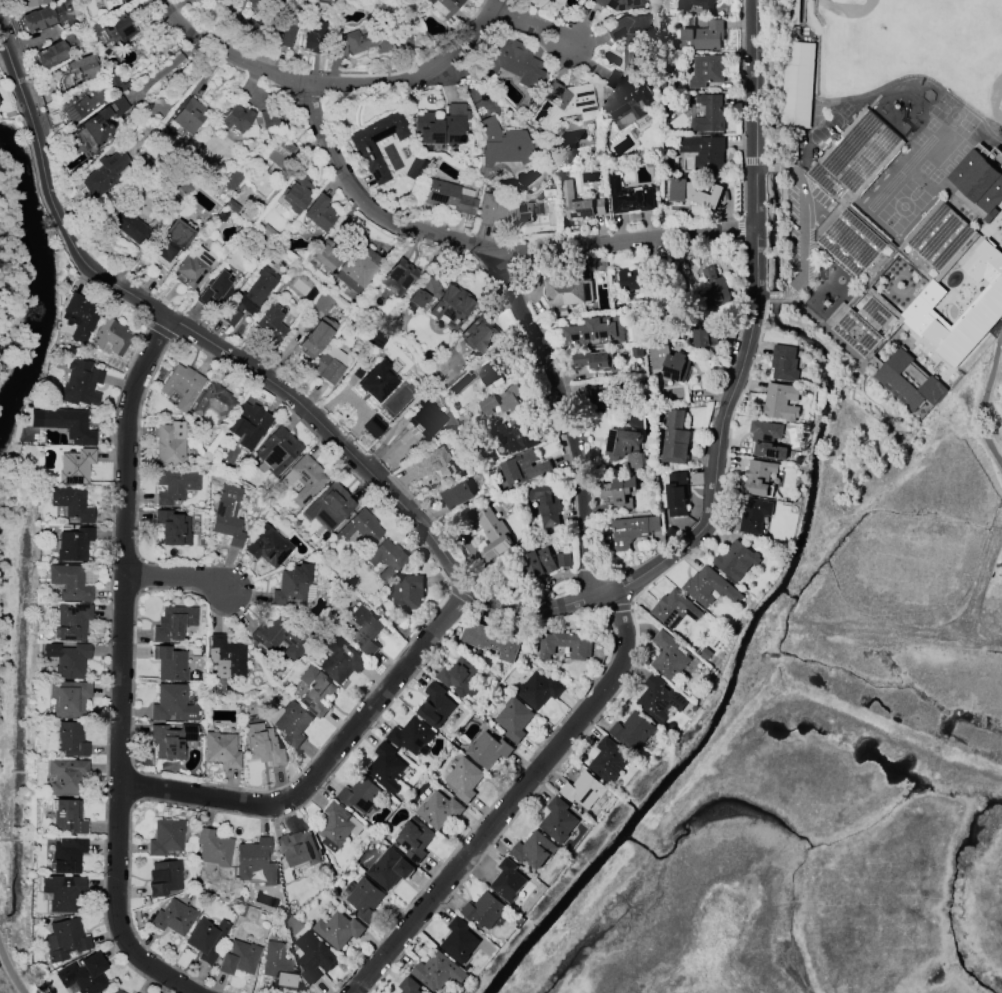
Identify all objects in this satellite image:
building: (103, 0)
building: (256, 3)
building: (32, 4)
building: (547, 4)
building: (618, 4)
building: (696, 5)
building: (443, 6)
building: (38, 19)
building: (123, 27)
road: (540, 27)
building: (281, 29)
building: (628, 36)
building: (701, 37)
building: (315, 39)
building: (366, 43)
park: (912, 48)
building: (51, 55)
building: (510, 62)
building: (85, 67)
building: (707, 72)
building: (114, 84)
building: (798, 85)
road: (340, 86)
building: (626, 97)
building: (84, 104)
building: (562, 105)
building: (710, 114)
building: (189, 115)
building: (235, 119)
building: (93, 120)
building: (266, 120)
building: (441, 125)
building: (503, 144)
building: (363, 147)
building: (281, 154)
building: (704, 154)
building: (856, 156)
building: (105, 173)
building: (231, 182)
building: (980, 182)
building: (693, 193)
building: (296, 194)
building: (448, 196)
building: (630, 197)
building: (579, 203)
building: (503, 211)
building: (319, 212)
building: (1001, 224)
building: (132, 227)
road: (802, 234)
road: (623, 238)
building: (852, 239)
building: (171, 240)
building: (325, 255)
road: (986, 259)
building: (194, 265)
building: (356, 268)
building: (397, 277)
building: (641, 279)
building: (215, 289)
building: (570, 289)
building: (714, 290)
building: (424, 291)
building: (250, 296)
road: (513, 296)
building: (322, 304)
building: (450, 306)
building: (987, 308)
building: (79, 316)
building: (271, 326)
building: (860, 331)
building: (597, 332)
building: (479, 334)
building: (706, 336)
building: (111, 337)
building: (315, 337)
building: (595, 360)
building: (668, 362)
building: (784, 363)
building: (326, 368)
building: (492, 375)
building: (909, 381)
building: (376, 382)
building: (80, 383)
building: (182, 386)
building: (601, 397)
building: (504, 402)
road: (985, 402)
building: (780, 403)
building: (215, 404)
building: (426, 417)
building: (68, 424)
building: (248, 425)
building: (373, 427)
building: (517, 435)
building: (675, 438)
building: (768, 440)
building: (621, 443)
building: (170, 445)
building: (276, 451)
building: (432, 464)
building: (75, 466)
building: (525, 468)
building: (759, 478)
building: (301, 479)
building: (174, 485)
building: (618, 490)
building: (676, 494)
building: (458, 495)
building: (71, 503)
building: (547, 505)
building: (329, 506)
building: (754, 514)
building: (227, 515)
building: (172, 528)
building: (360, 528)
building: (491, 531)
building: (632, 531)
building: (73, 544)
building: (267, 546)
building: (388, 559)
building: (564, 560)
building: (736, 560)
building: (537, 565)
road: (170, 579)
building: (69, 583)
building: (709, 587)
building: (291, 588)
building: (408, 592)
road: (487, 595)
building: (675, 609)
building: (71, 621)
building: (173, 623)
building: (366, 629)
building: (280, 638)
building: (491, 641)
building: (565, 645)
building: (226, 657)
building: (670, 657)
building: (67, 660)
building: (339, 660)
building: (169, 663)
road: (121, 668)
building: (461, 677)
building: (538, 691)
building: (315, 692)
building: (68, 698)
building: (659, 700)
building: (172, 703)
building: (435, 706)
building: (514, 719)
building: (292, 723)
building: (633, 731)
building: (412, 737)
building: (69, 738)
building: (172, 741)
building: (262, 745)
building: (221, 749)
building: (488, 750)
park: (821, 752)
building: (607, 761)
road: (326, 763)
building: (386, 768)
building: (66, 776)
building: (464, 779)
building: (584, 790)
building: (362, 796)
road: (517, 802)
building: (440, 810)
building: (67, 817)
building: (558, 820)
building: (337, 827)
building: (165, 837)
building: (415, 839)
building: (298, 849)
building: (212, 850)
building: (534, 850)
building: (67, 854)
building: (255, 861)
building: (390, 869)
building: (164, 877)
building: (508, 881)
building: (62, 893)
building: (366, 900)
building: (484, 910)
building: (173, 917)
building: (338, 930)
building: (64, 939)
building: (205, 939)
building: (459, 941)
building: (313, 956)
building: (238, 958)
building: (277, 965)
road: (12, 968)
building: (438, 972)
building: (84, 975)
building: (409, 986)
building: (115, 991)

